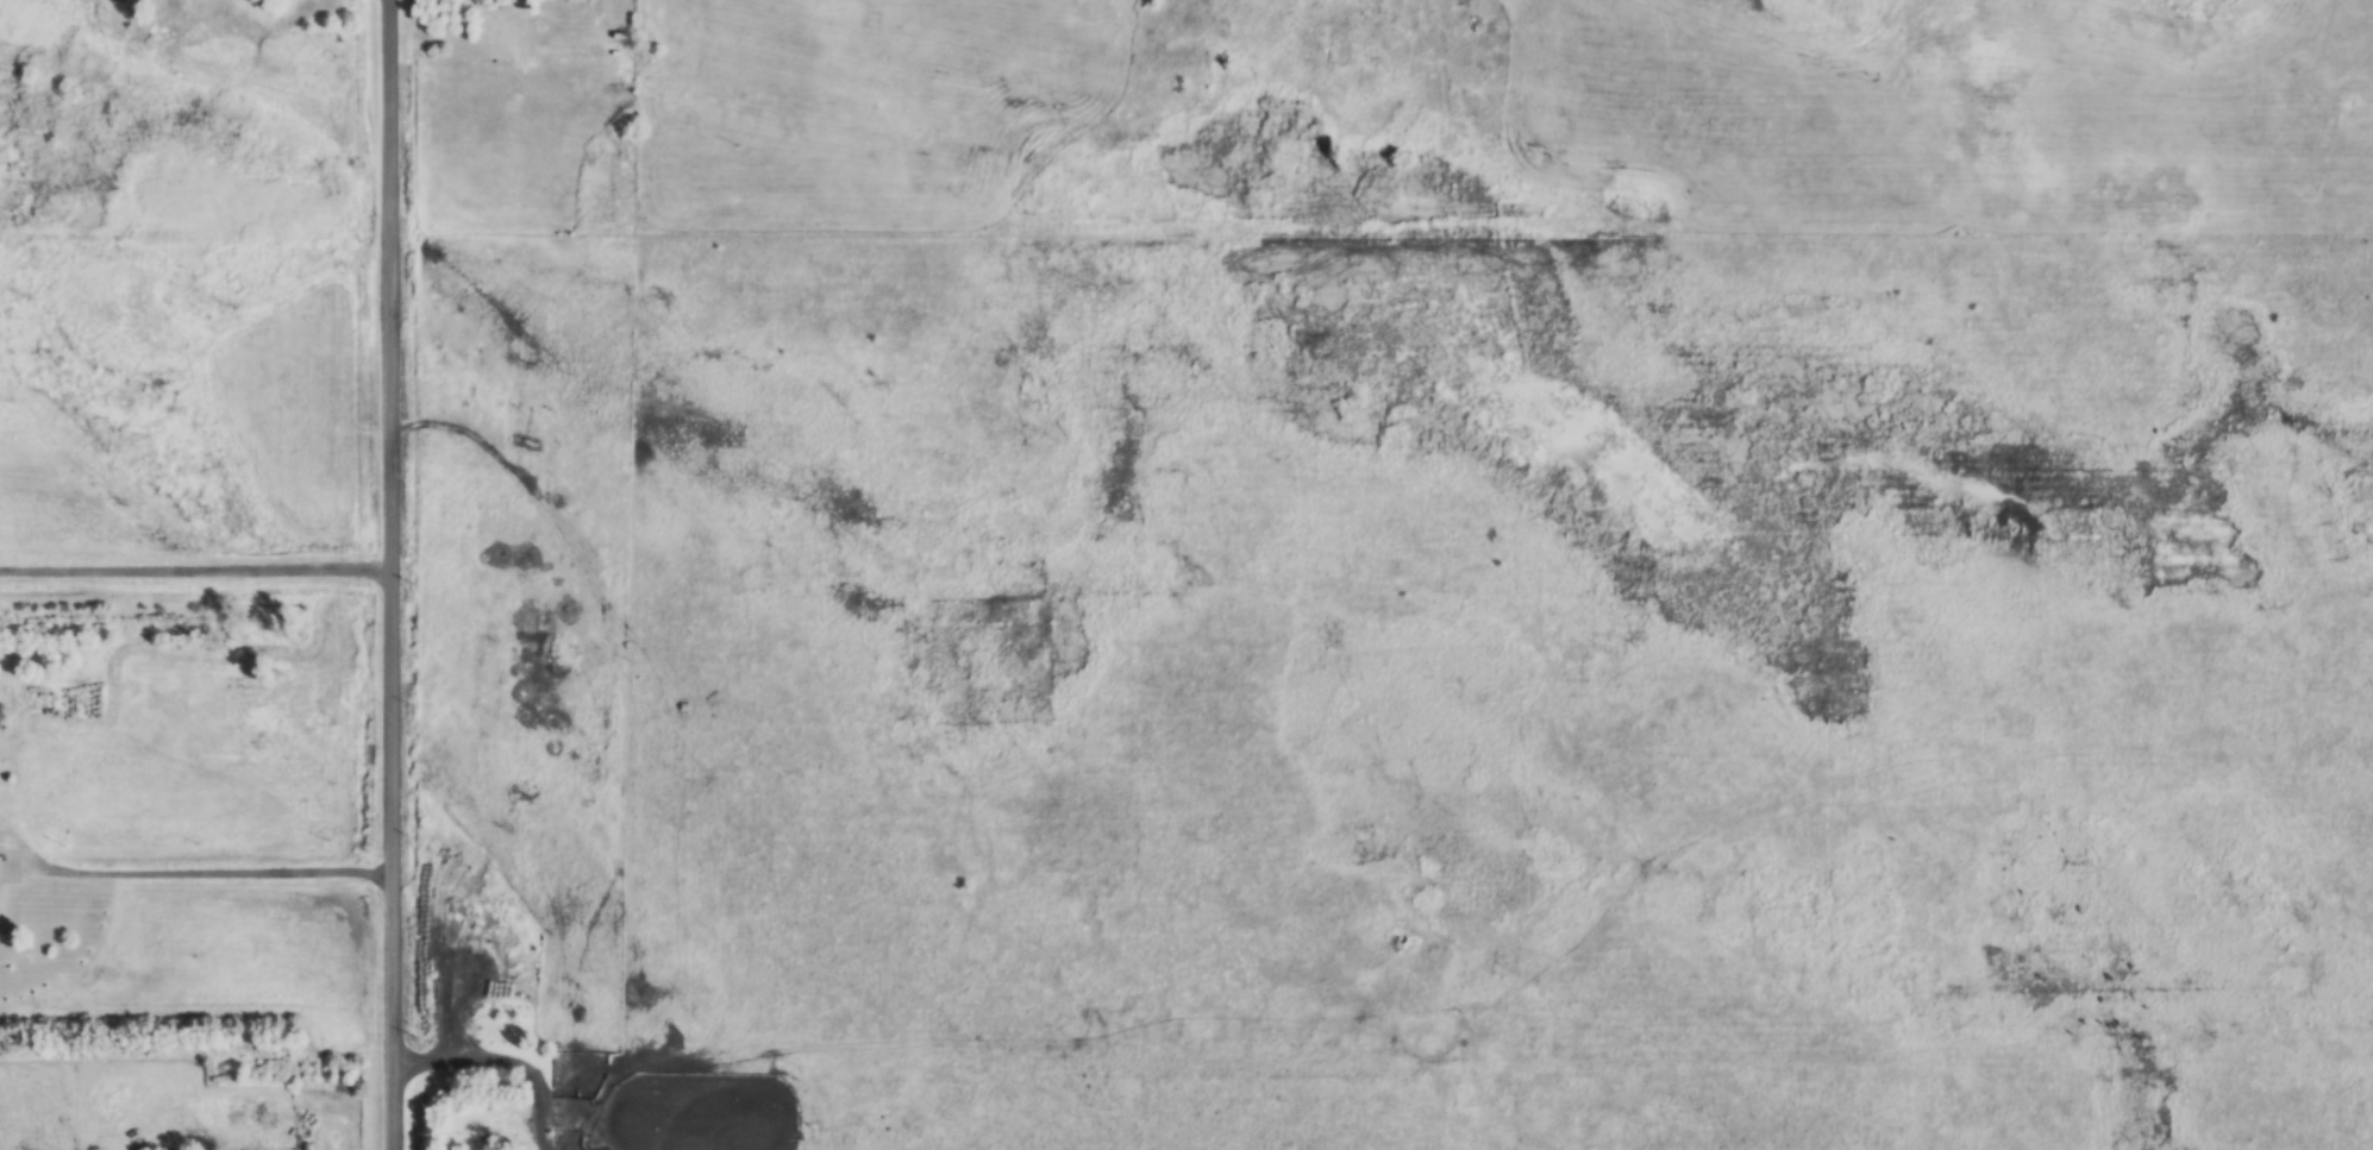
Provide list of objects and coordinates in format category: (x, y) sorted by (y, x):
road: (195, 568)
road: (390, 574)
road: (195, 878)
road: (499, 1066)

